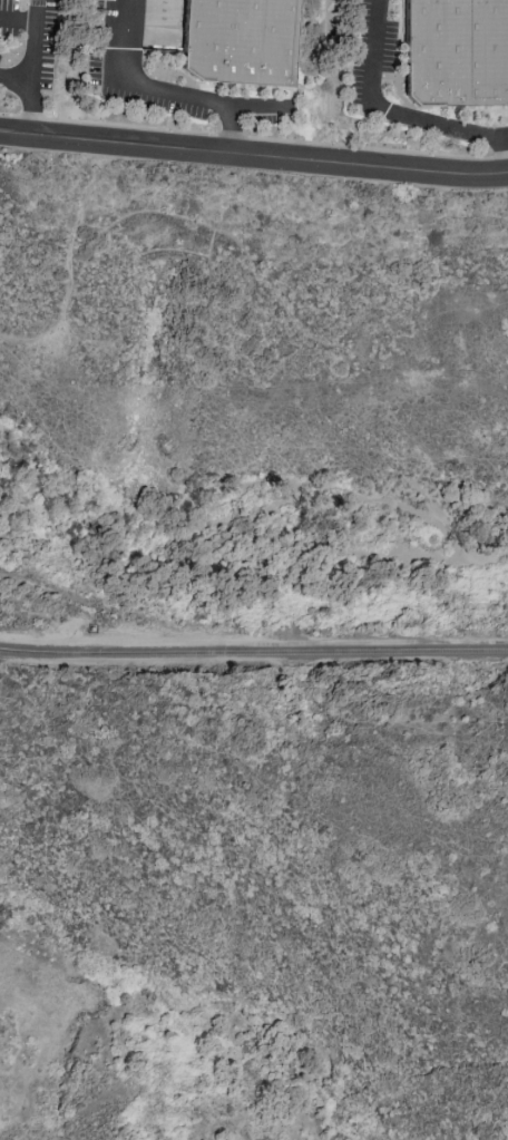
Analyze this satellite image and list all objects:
road: (41, 9)
road: (20, 17)
building: (247, 45)
building: (458, 57)
road: (37, 77)
road: (18, 80)
road: (165, 90)
road: (400, 113)
road: (231, 129)
road: (505, 136)
road: (254, 155)
railway: (253, 652)

